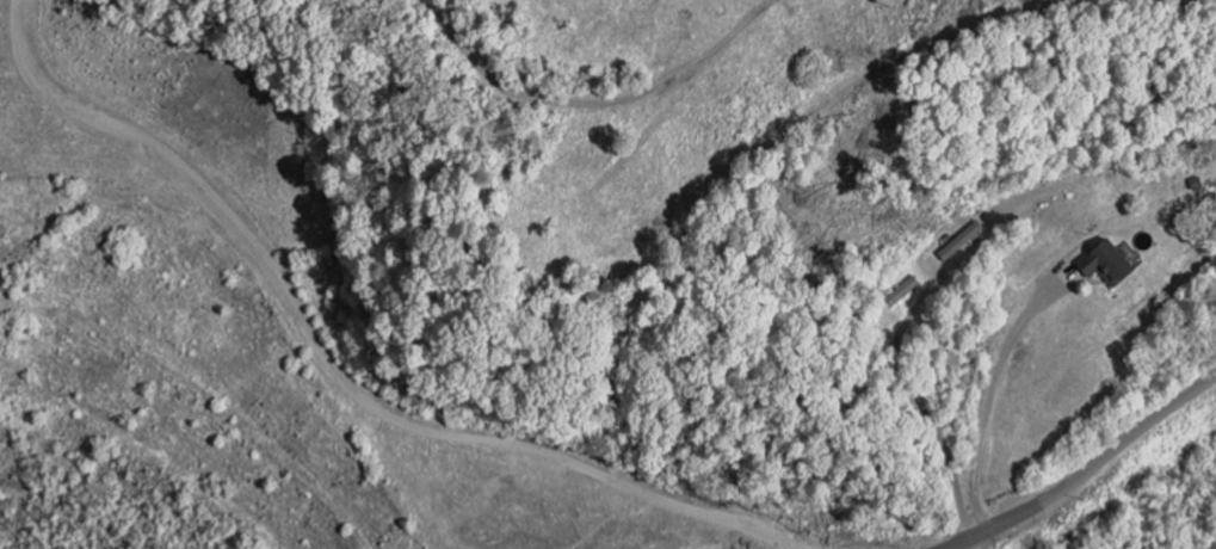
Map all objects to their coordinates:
building: (959, 243)
building: (1105, 264)
road: (1084, 469)

